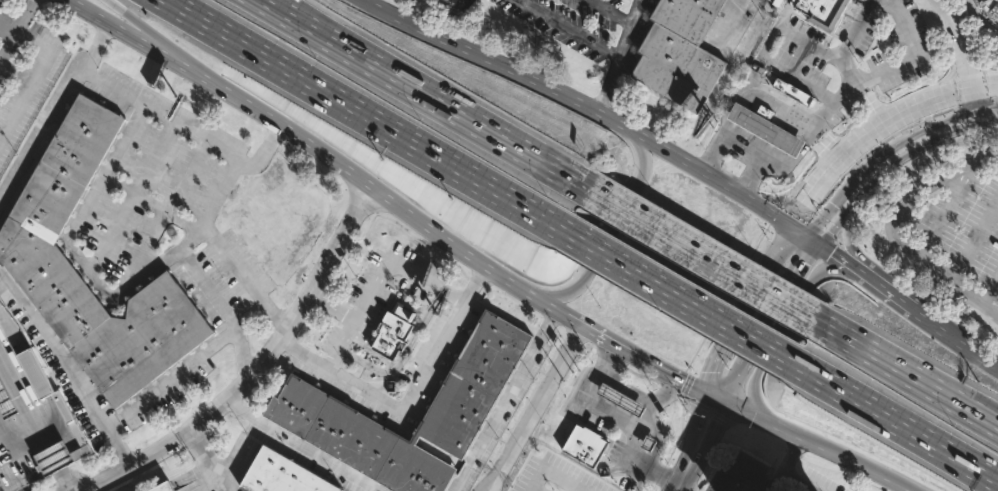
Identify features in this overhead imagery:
building: (448, 0)
building: (996, 1)
building: (822, 11)
road: (447, 18)
parking lot: (576, 23)
road: (15, 25)
road: (6, 26)
road: (569, 29)
road: (856, 31)
road: (952, 41)
road: (343, 47)
road: (364, 47)
road: (764, 50)
building: (680, 51)
road: (179, 55)
road: (619, 57)
road: (902, 63)
road: (554, 91)
building: (792, 91)
road: (978, 99)
road: (51, 106)
road: (900, 106)
road: (355, 111)
road: (162, 114)
building: (766, 127)
gas station: (766, 127)
road: (808, 130)
road: (504, 138)
road: (913, 143)
road: (740, 145)
road: (345, 171)
road: (238, 179)
road: (785, 195)
road: (131, 196)
road: (169, 206)
traffic signals: (801, 209)
building: (275, 215)
road: (778, 218)
road: (894, 230)
parking lot: (952, 231)
road: (848, 237)
building: (30, 250)
traffic signals: (829, 250)
road: (73, 251)
road: (701, 252)
road: (838, 255)
road: (596, 257)
traffic signals: (805, 263)
road: (231, 266)
road: (378, 276)
road: (758, 280)
road: (209, 287)
road: (886, 287)
road: (680, 296)
road: (783, 301)
road: (330, 310)
road: (273, 312)
road: (779, 328)
building: (394, 329)
road: (955, 334)
road: (233, 336)
road: (260, 366)
road: (911, 370)
road: (661, 372)
traffic signals: (708, 372)
road: (68, 374)
road: (169, 379)
traffic signals: (682, 382)
road: (625, 385)
road: (15, 389)
road: (408, 396)
road: (715, 397)
building: (622, 399)
road: (504, 401)
building: (6, 402)
building: (308, 406)
road: (536, 409)
road: (878, 410)
road: (650, 412)
road: (621, 419)
building: (71, 422)
traffic signals: (718, 424)
road: (38, 433)
road: (691, 433)
road: (758, 438)
road: (19, 442)
road: (708, 442)
building: (586, 445)
road: (303, 446)
road: (821, 446)
road: (793, 454)
road: (714, 455)
building: (60, 456)
road: (52, 460)
road: (204, 461)
road: (227, 464)
road: (971, 464)
road: (969, 470)
road: (784, 471)
road: (844, 472)
road: (548, 473)
building: (282, 475)
road: (778, 477)
road: (63, 481)
road: (677, 483)
road: (770, 485)
building: (163, 487)
road: (679, 489)
road: (696, 489)

